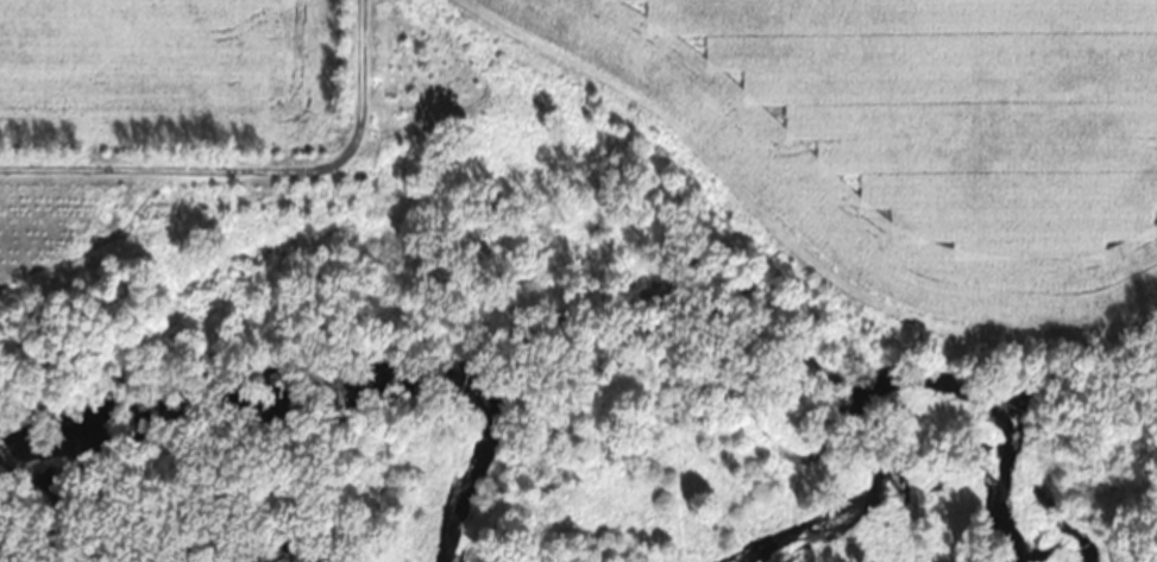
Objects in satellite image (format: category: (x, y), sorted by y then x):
road: (181, 170)

